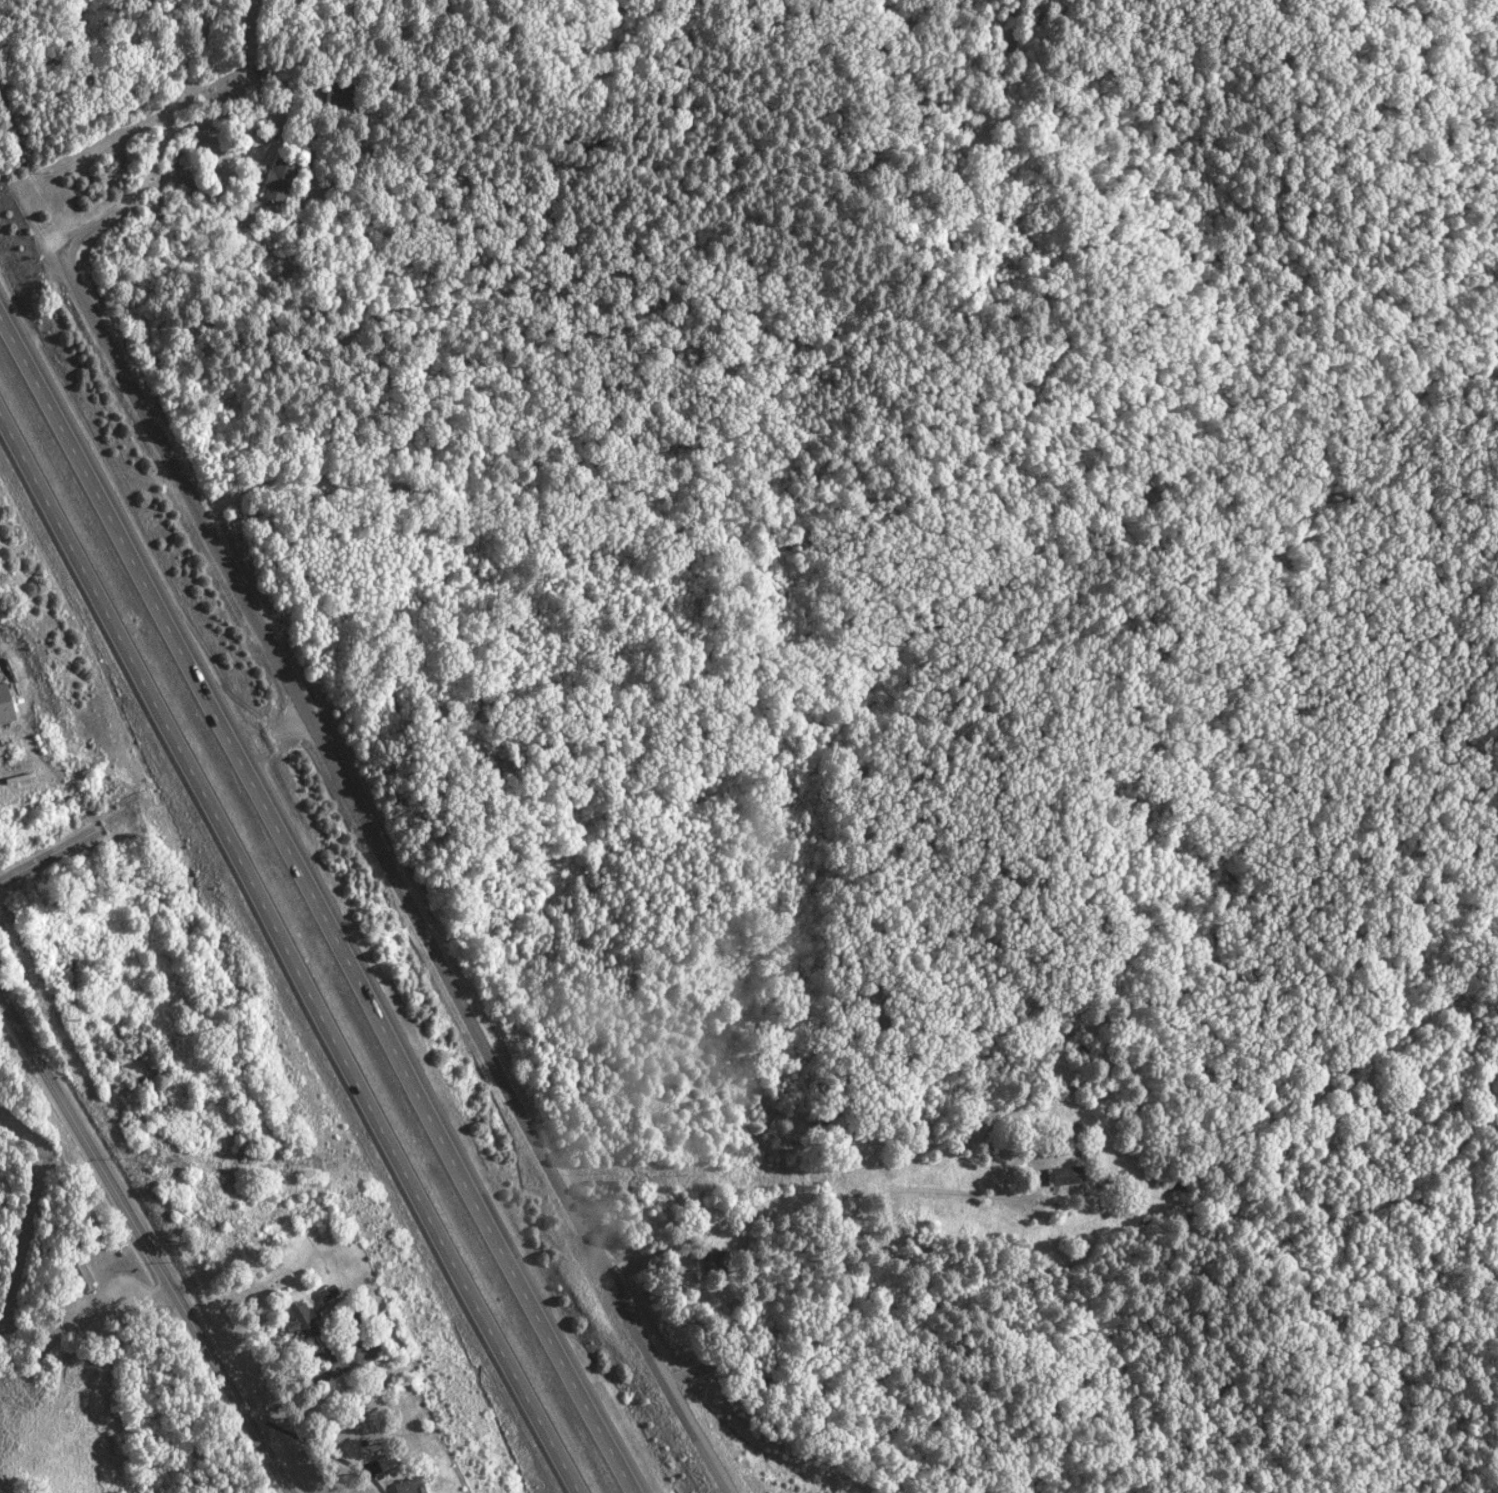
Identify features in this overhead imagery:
road: (184, 74)
building: (337, 94)
road: (214, 114)
building: (276, 180)
building: (3, 709)
road: (363, 812)
road: (43, 854)
road: (317, 911)
road: (289, 956)
building: (1063, 1175)
road: (799, 1203)
road: (144, 1242)
building: (77, 1274)
road: (131, 1299)
building: (299, 1321)
building: (404, 1487)

